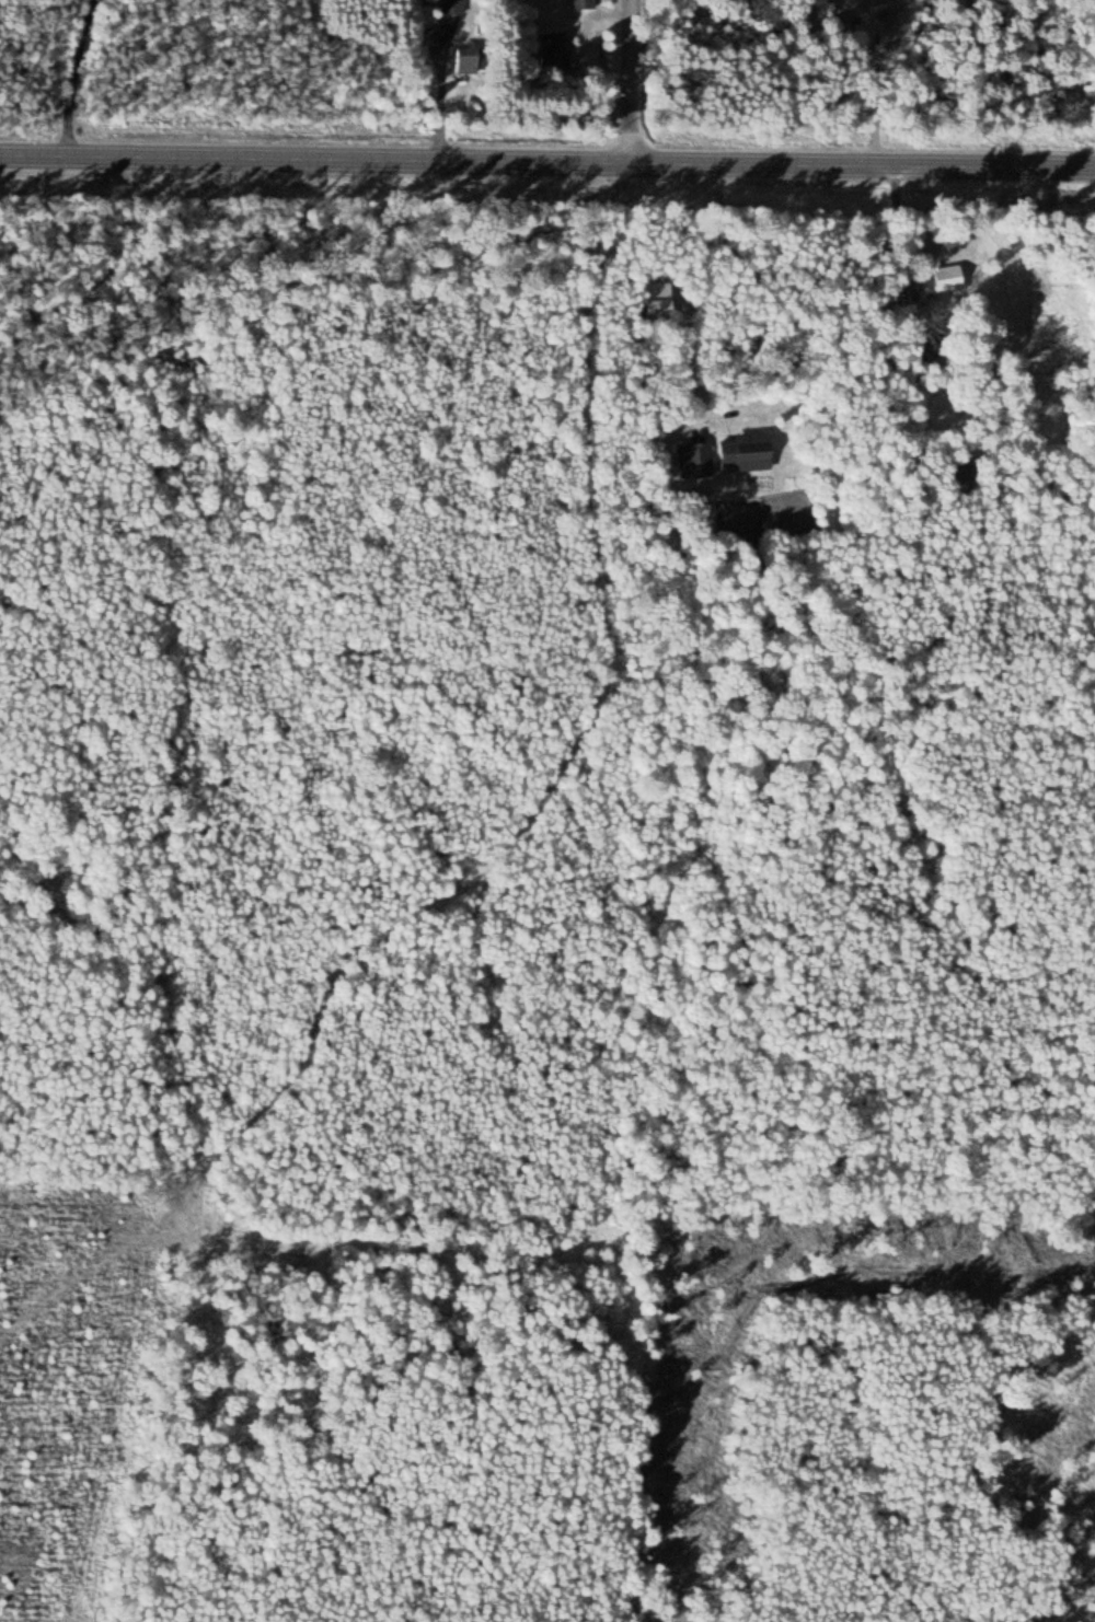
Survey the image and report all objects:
building: (585, 4)
building: (454, 7)
building: (889, 10)
building: (555, 49)
building: (469, 59)
road: (629, 82)
road: (546, 163)
building: (947, 279)
road: (780, 302)
building: (750, 451)
building: (698, 459)
road: (818, 728)

